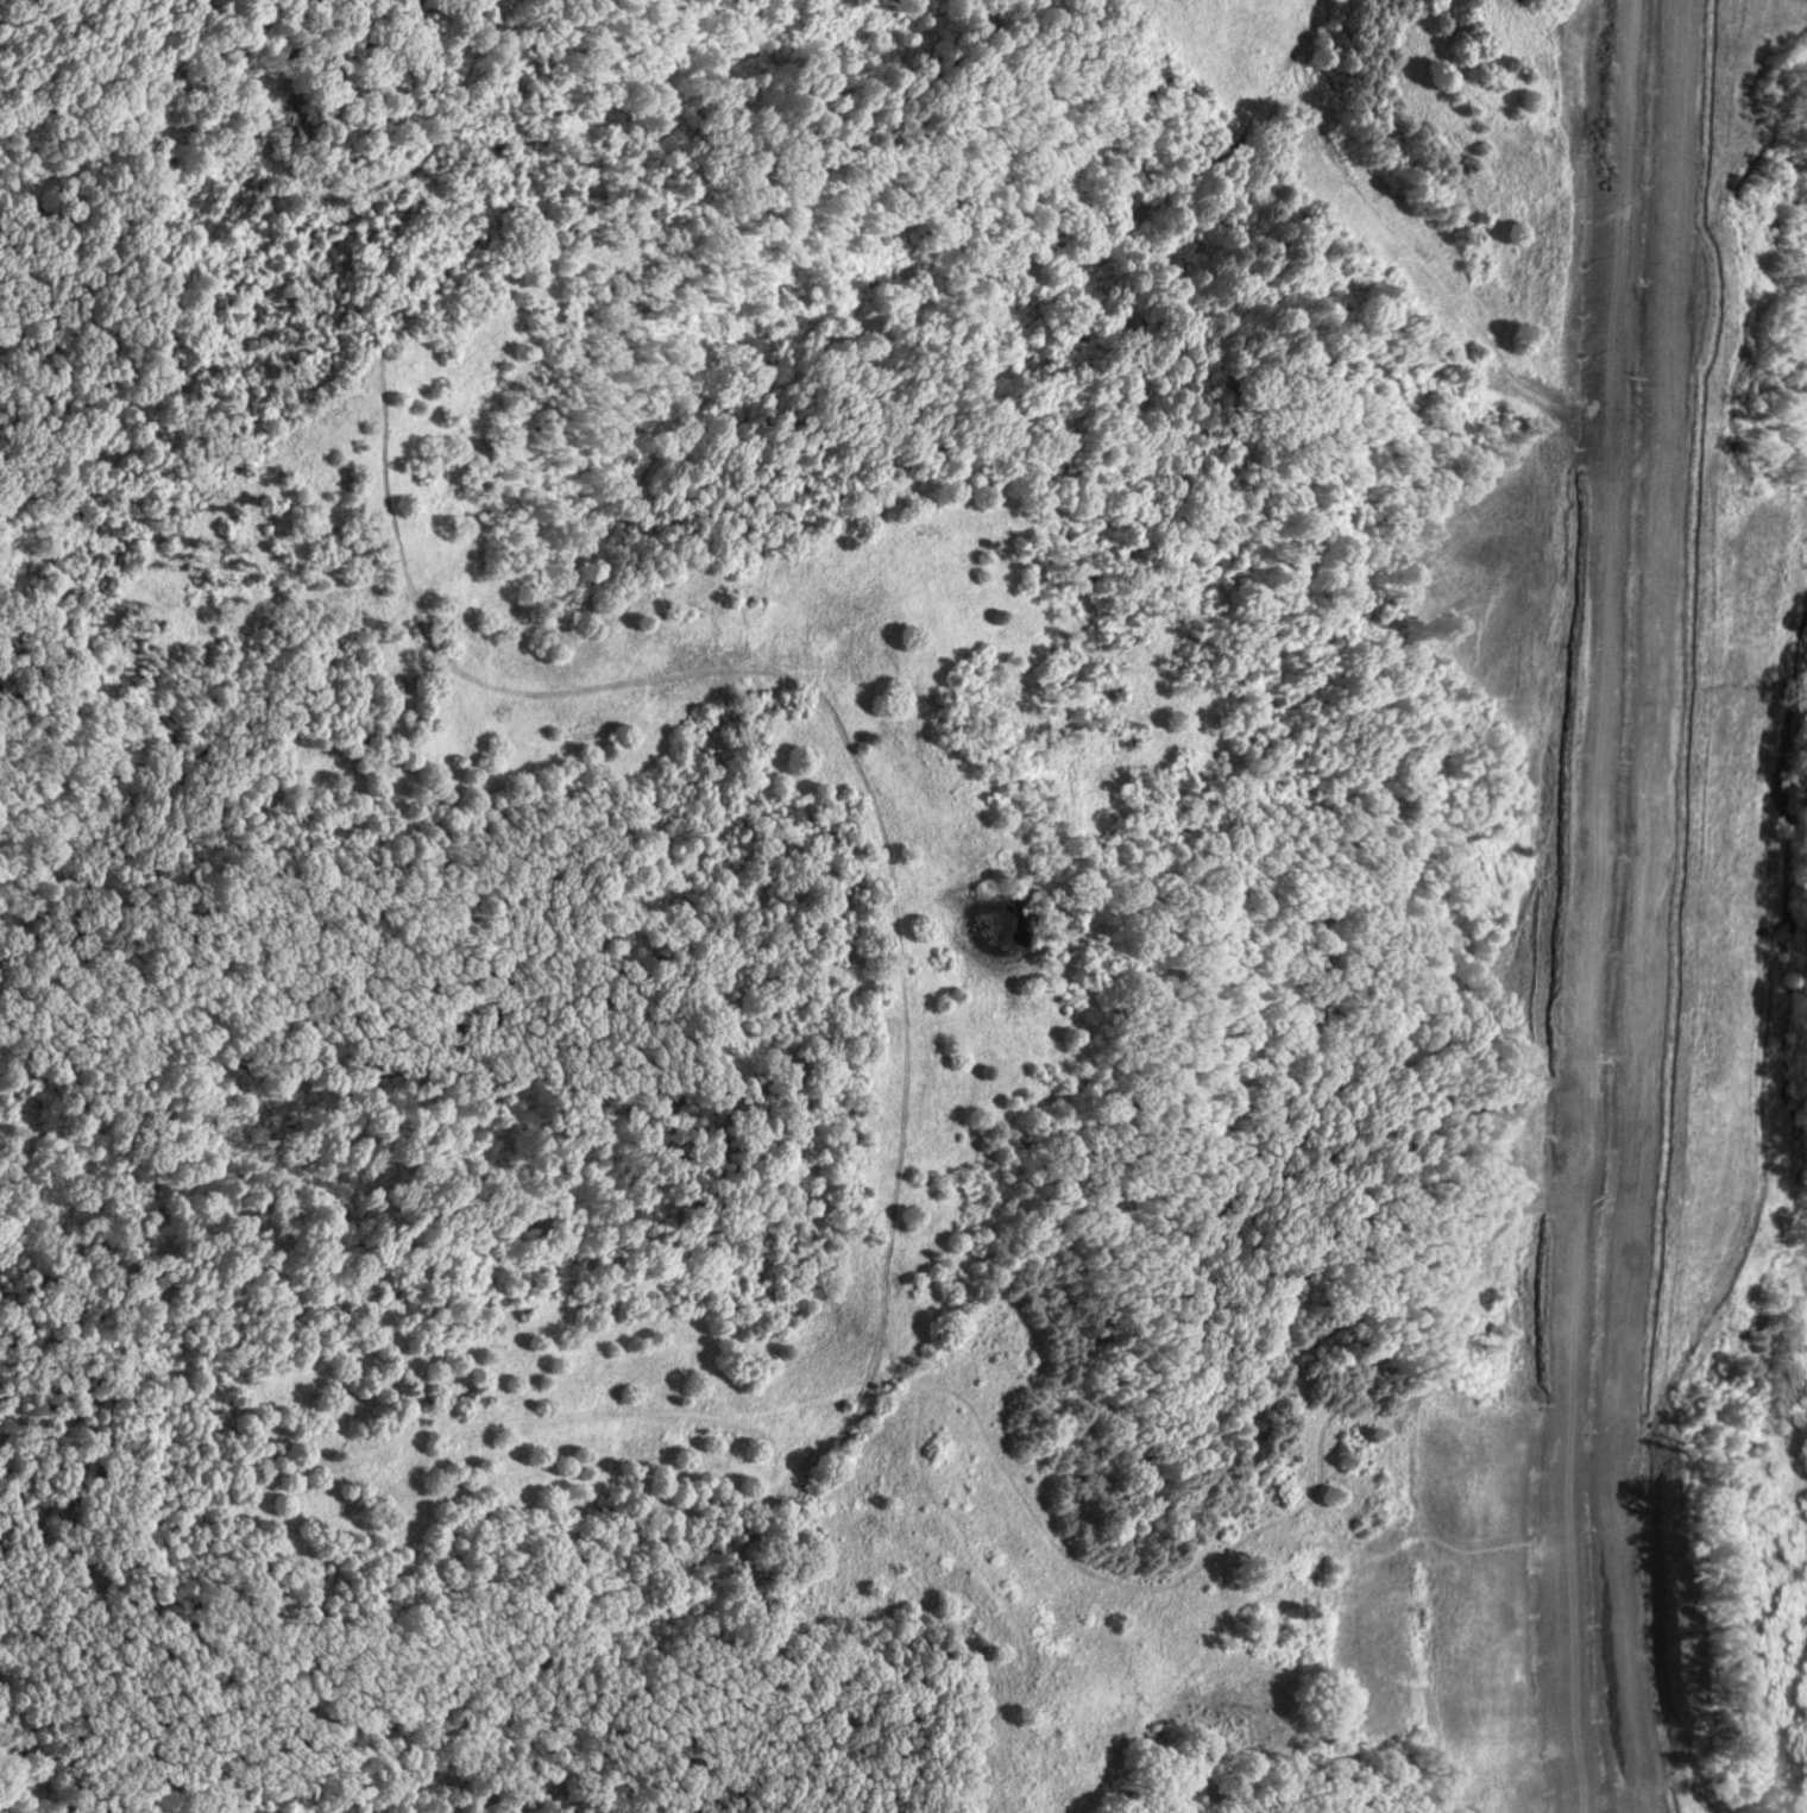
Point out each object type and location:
road: (1589, 907)
road: (1648, 907)

